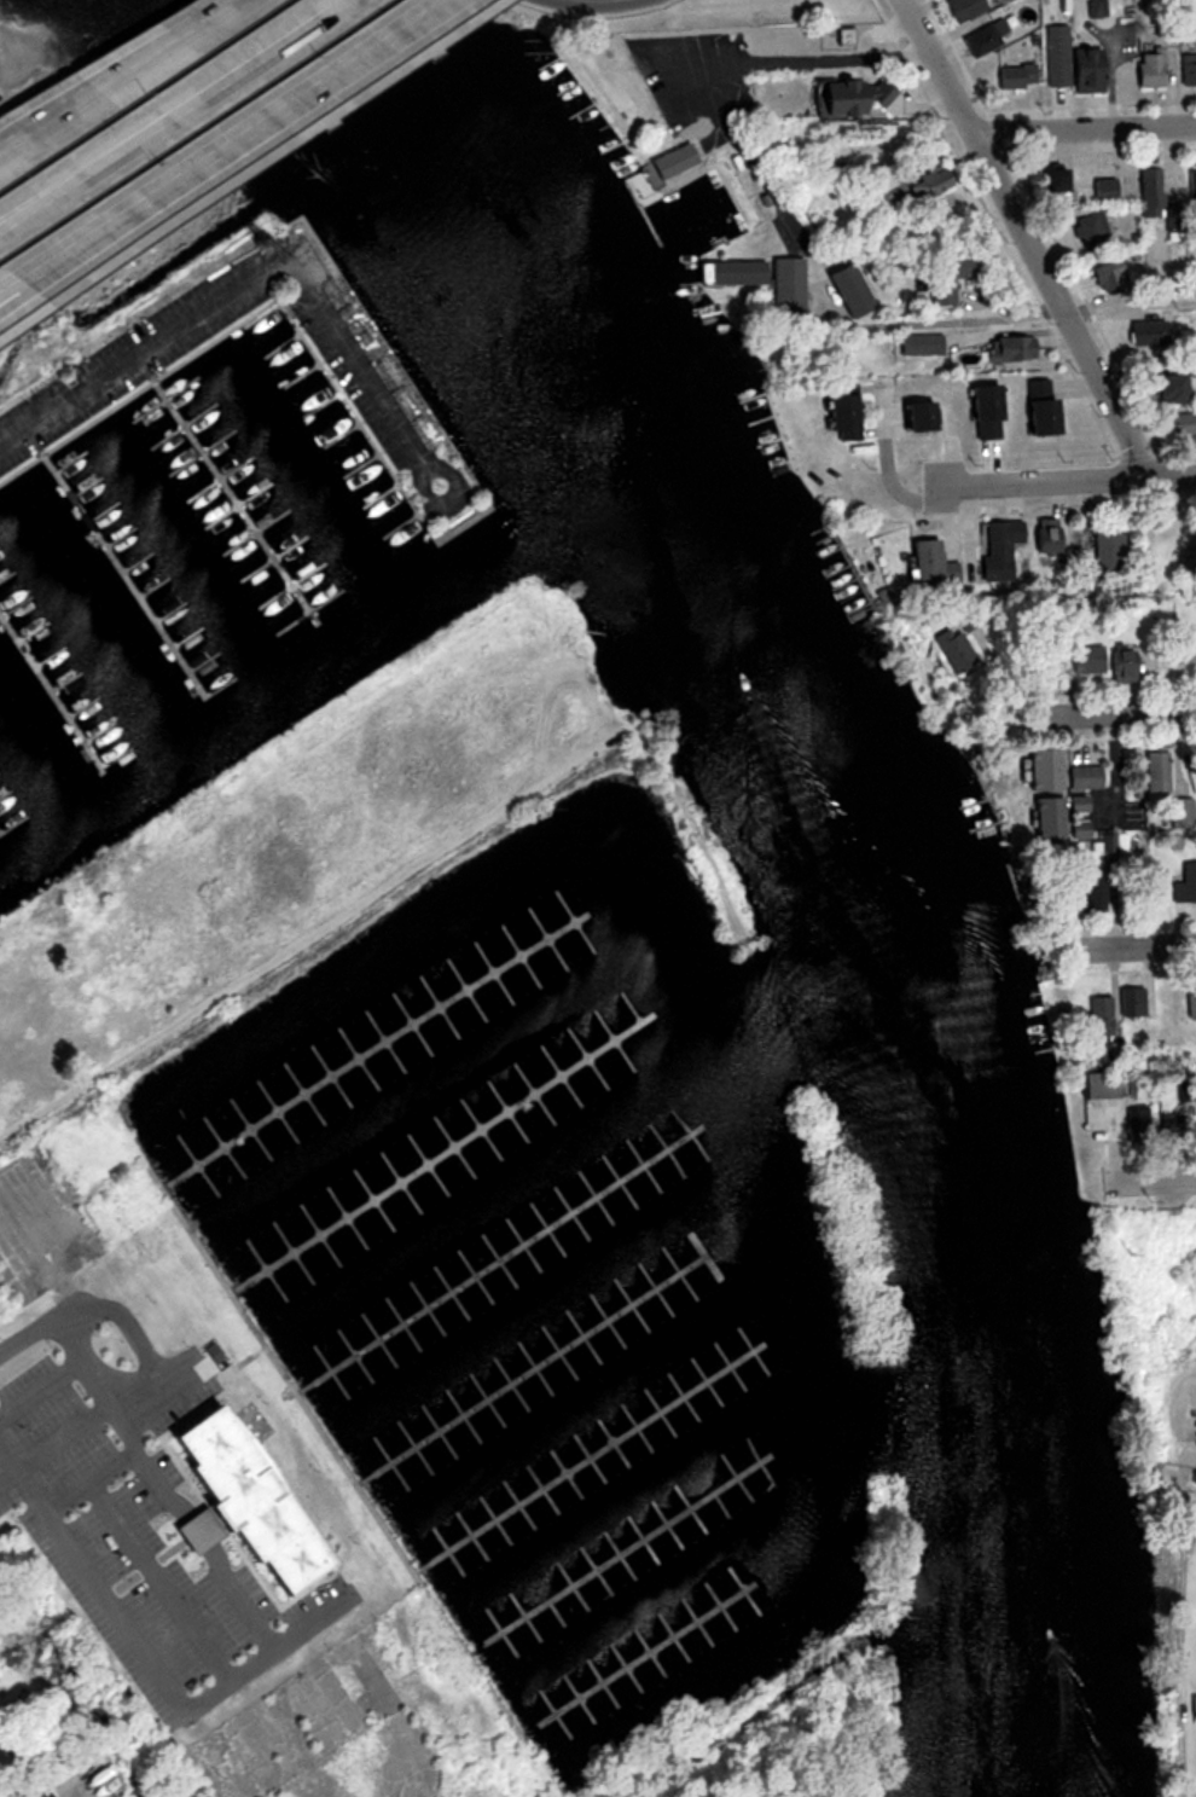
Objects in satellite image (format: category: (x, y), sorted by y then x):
road: (605, 0)
park: (2, 1)
building: (962, 8)
road: (5, 27)
building: (983, 37)
building: (1069, 63)
building: (1186, 69)
building: (1148, 70)
building: (1014, 76)
road: (134, 88)
building: (844, 97)
road: (173, 115)
road: (1084, 133)
road: (48, 140)
road: (220, 149)
building: (670, 161)
road: (765, 180)
building: (1050, 180)
building: (1191, 180)
building: (922, 190)
building: (1103, 190)
building: (1149, 191)
building: (1090, 227)
road: (1024, 239)
road: (267, 265)
building: (732, 272)
building: (1107, 274)
building: (946, 277)
building: (785, 286)
building: (847, 290)
road: (1128, 306)
building: (1146, 334)
building: (916, 344)
building: (1006, 348)
building: (1174, 386)
building: (1038, 406)
building: (981, 411)
building: (838, 412)
building: (915, 416)
building: (1180, 424)
road: (1064, 482)
pier: (232, 499)
building: (1045, 534)
building: (997, 547)
building: (1099, 558)
building: (927, 563)
pier: (121, 568)
building: (966, 618)
building: (950, 649)
building: (1186, 649)
building: (1085, 659)
building: (1120, 666)
pier: (51, 689)
road: (1125, 711)
building: (1041, 769)
building: (1155, 771)
building: (1082, 777)
river: (834, 802)
building: (1076, 802)
building: (1182, 812)
building: (1045, 818)
building: (1078, 829)
pier: (0, 834)
building: (1116, 841)
building: (1185, 883)
building: (1090, 893)
road: (1146, 947)
building: (1131, 1002)
building: (1190, 1002)
building: (1095, 1019)
pier: (381, 1044)
building: (1095, 1086)
building: (1134, 1125)
building: (1167, 1129)
pier: (445, 1150)
road: (1189, 1172)
pier: (504, 1254)
road: (30, 1337)
building: (201, 1361)
road: (166, 1363)
pier: (533, 1368)
pier: (592, 1455)
building: (251, 1503)
pier: (620, 1554)
pier: (637, 1663)
road: (215, 1682)
building: (330, 1795)

